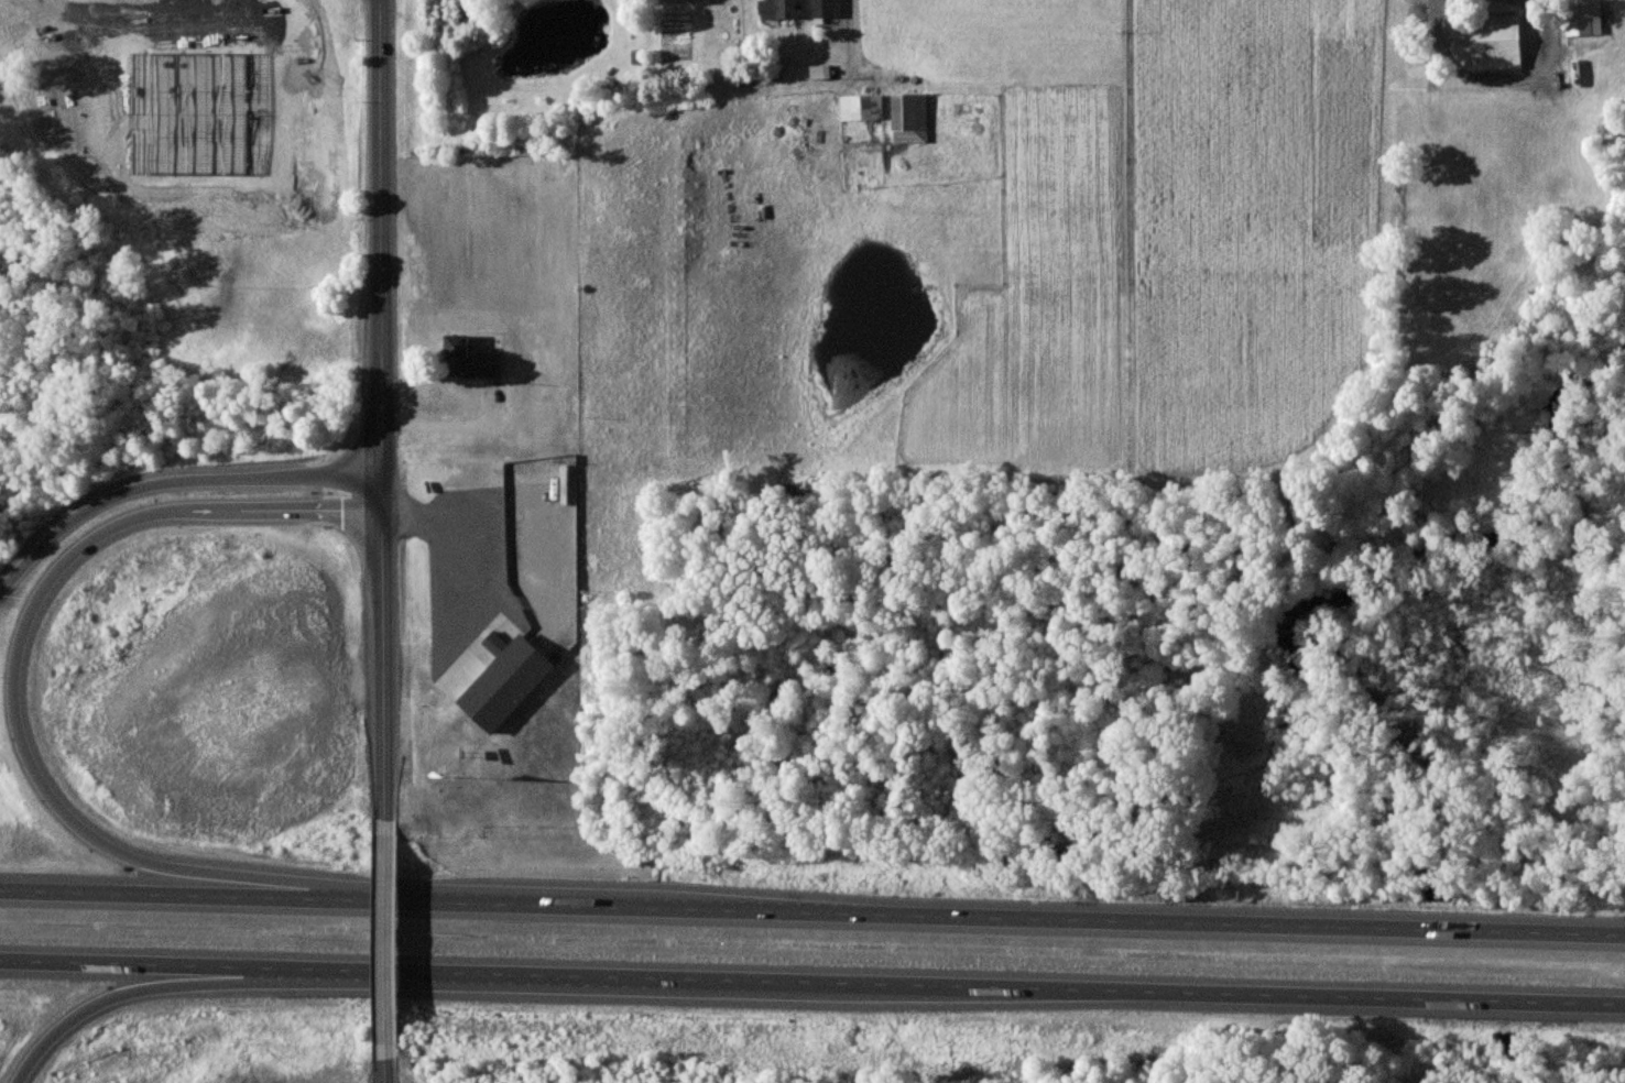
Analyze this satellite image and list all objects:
building: (827, 8)
building: (778, 9)
building: (1585, 19)
building: (1497, 43)
building: (861, 107)
building: (909, 118)
building: (471, 360)
road: (384, 420)
road: (174, 483)
building: (506, 681)
road: (24, 745)
road: (811, 912)
road: (390, 942)
road: (811, 983)
road: (126, 987)
road: (391, 1063)

